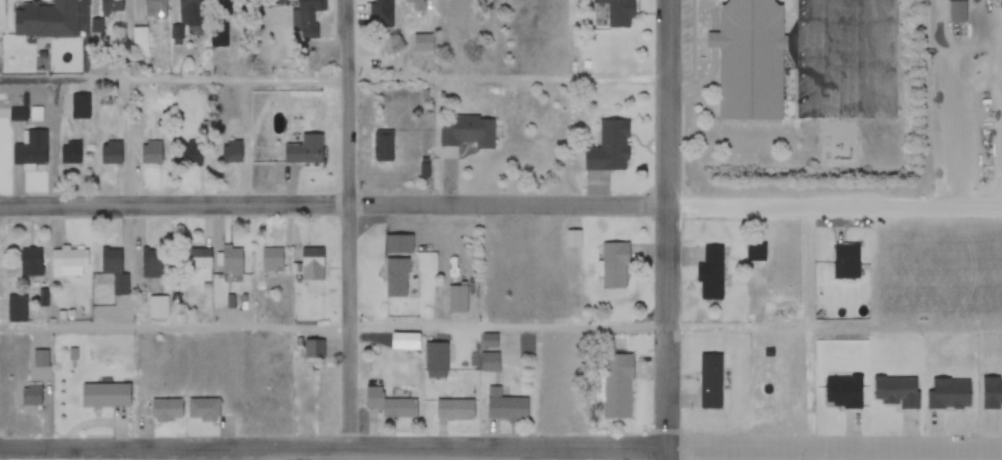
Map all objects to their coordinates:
building: (235, 4)
building: (111, 6)
building: (451, 7)
building: (413, 8)
building: (153, 9)
building: (74, 10)
building: (956, 11)
building: (617, 13)
building: (29, 14)
building: (382, 14)
building: (307, 17)
building: (187, 18)
building: (219, 37)
building: (140, 41)
building: (422, 43)
building: (748, 60)
road: (335, 82)
building: (468, 133)
building: (383, 147)
building: (30, 148)
building: (608, 148)
building: (230, 151)
building: (70, 152)
building: (310, 152)
building: (110, 153)
building: (151, 154)
building: (190, 154)
road: (501, 205)
road: (351, 223)
road: (670, 230)
building: (573, 240)
building: (397, 245)
building: (195, 258)
building: (270, 260)
building: (232, 261)
building: (72, 262)
building: (151, 262)
building: (30, 263)
building: (311, 264)
building: (614, 266)
building: (114, 271)
building: (710, 274)
building: (395, 278)
building: (457, 299)
building: (158, 308)
building: (15, 309)
road: (334, 327)
building: (488, 340)
building: (489, 362)
building: (615, 386)
building: (31, 394)
building: (105, 395)
building: (389, 405)
building: (506, 407)
building: (453, 408)
building: (203, 410)
building: (165, 411)
road: (501, 448)

